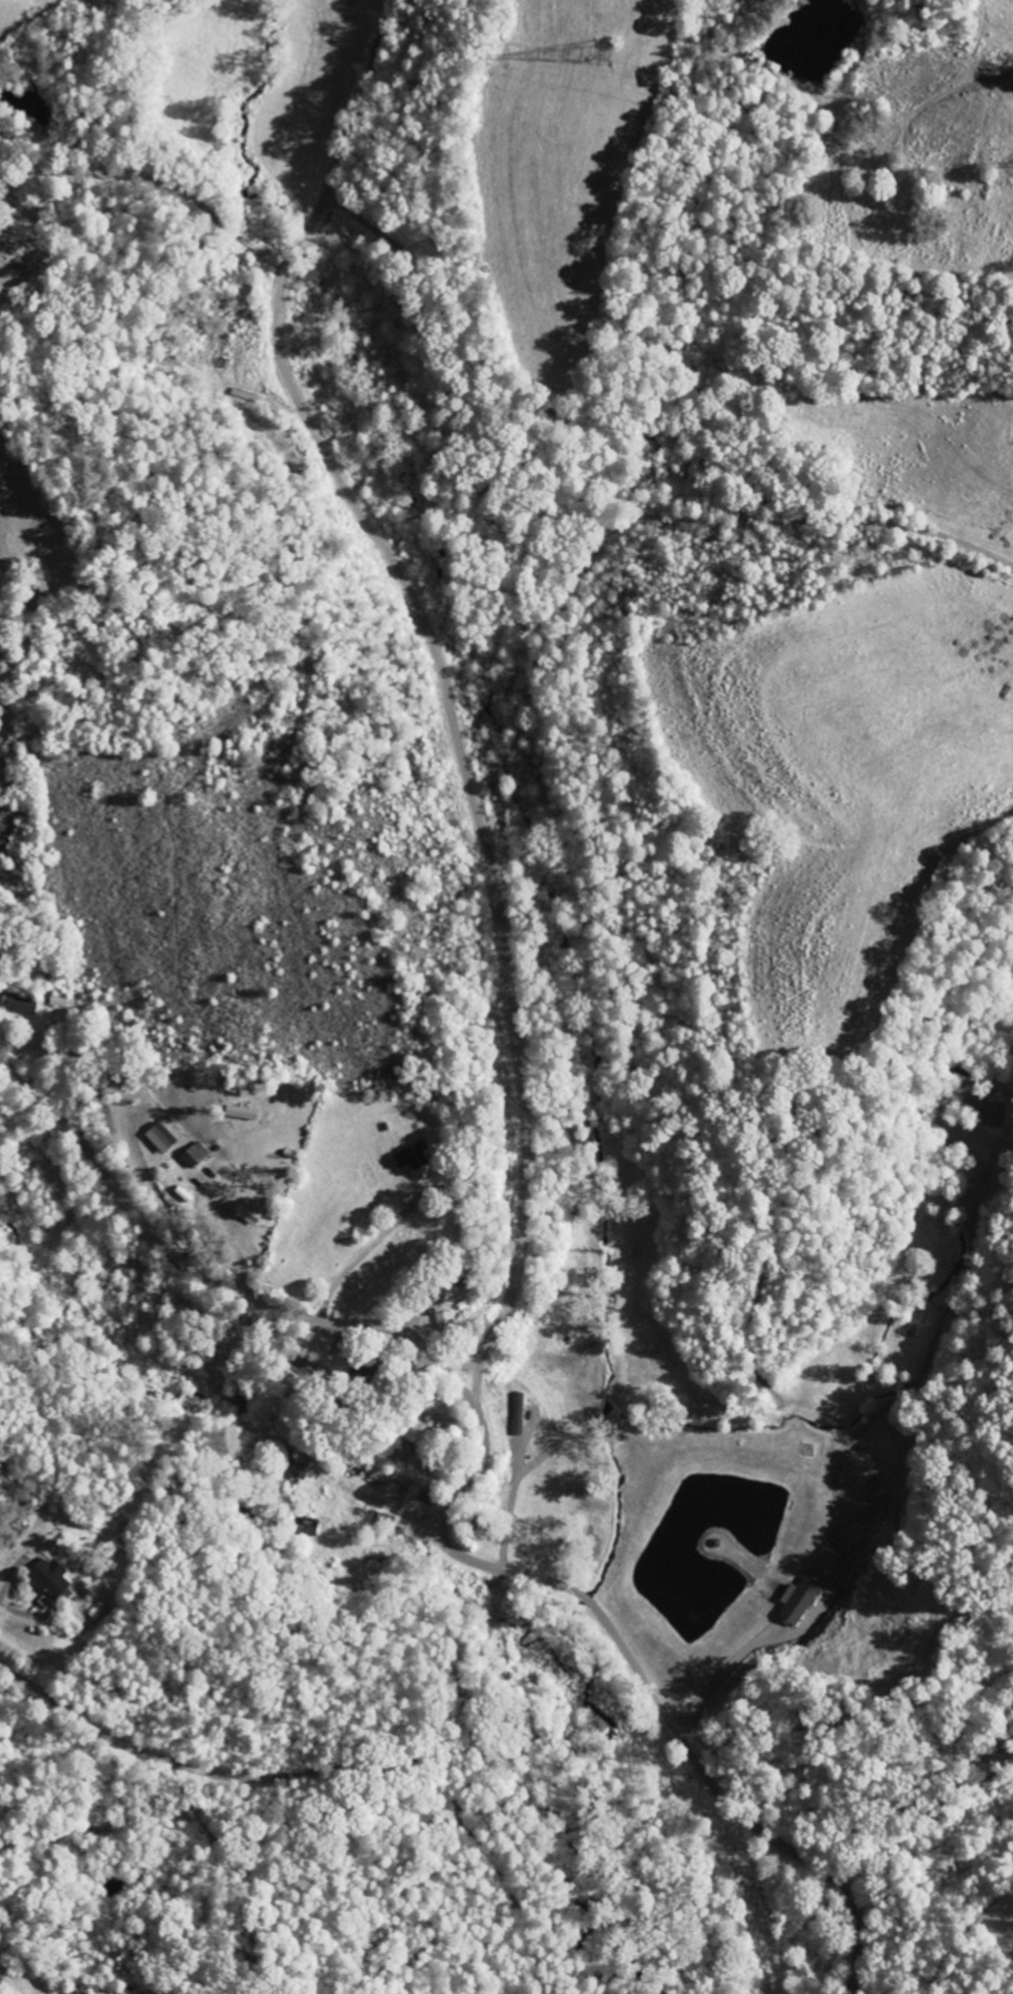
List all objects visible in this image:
power tower: (602, 51)
building: (58, 1001)
building: (22, 1008)
road: (522, 1074)
building: (162, 1138)
building: (195, 1156)
building: (412, 1158)
road: (211, 1278)
building: (102, 1297)
building: (446, 1324)
road: (461, 1352)
building: (421, 1439)
building: (828, 1558)
building: (50, 1582)
building: (801, 1602)
road: (311, 1770)

